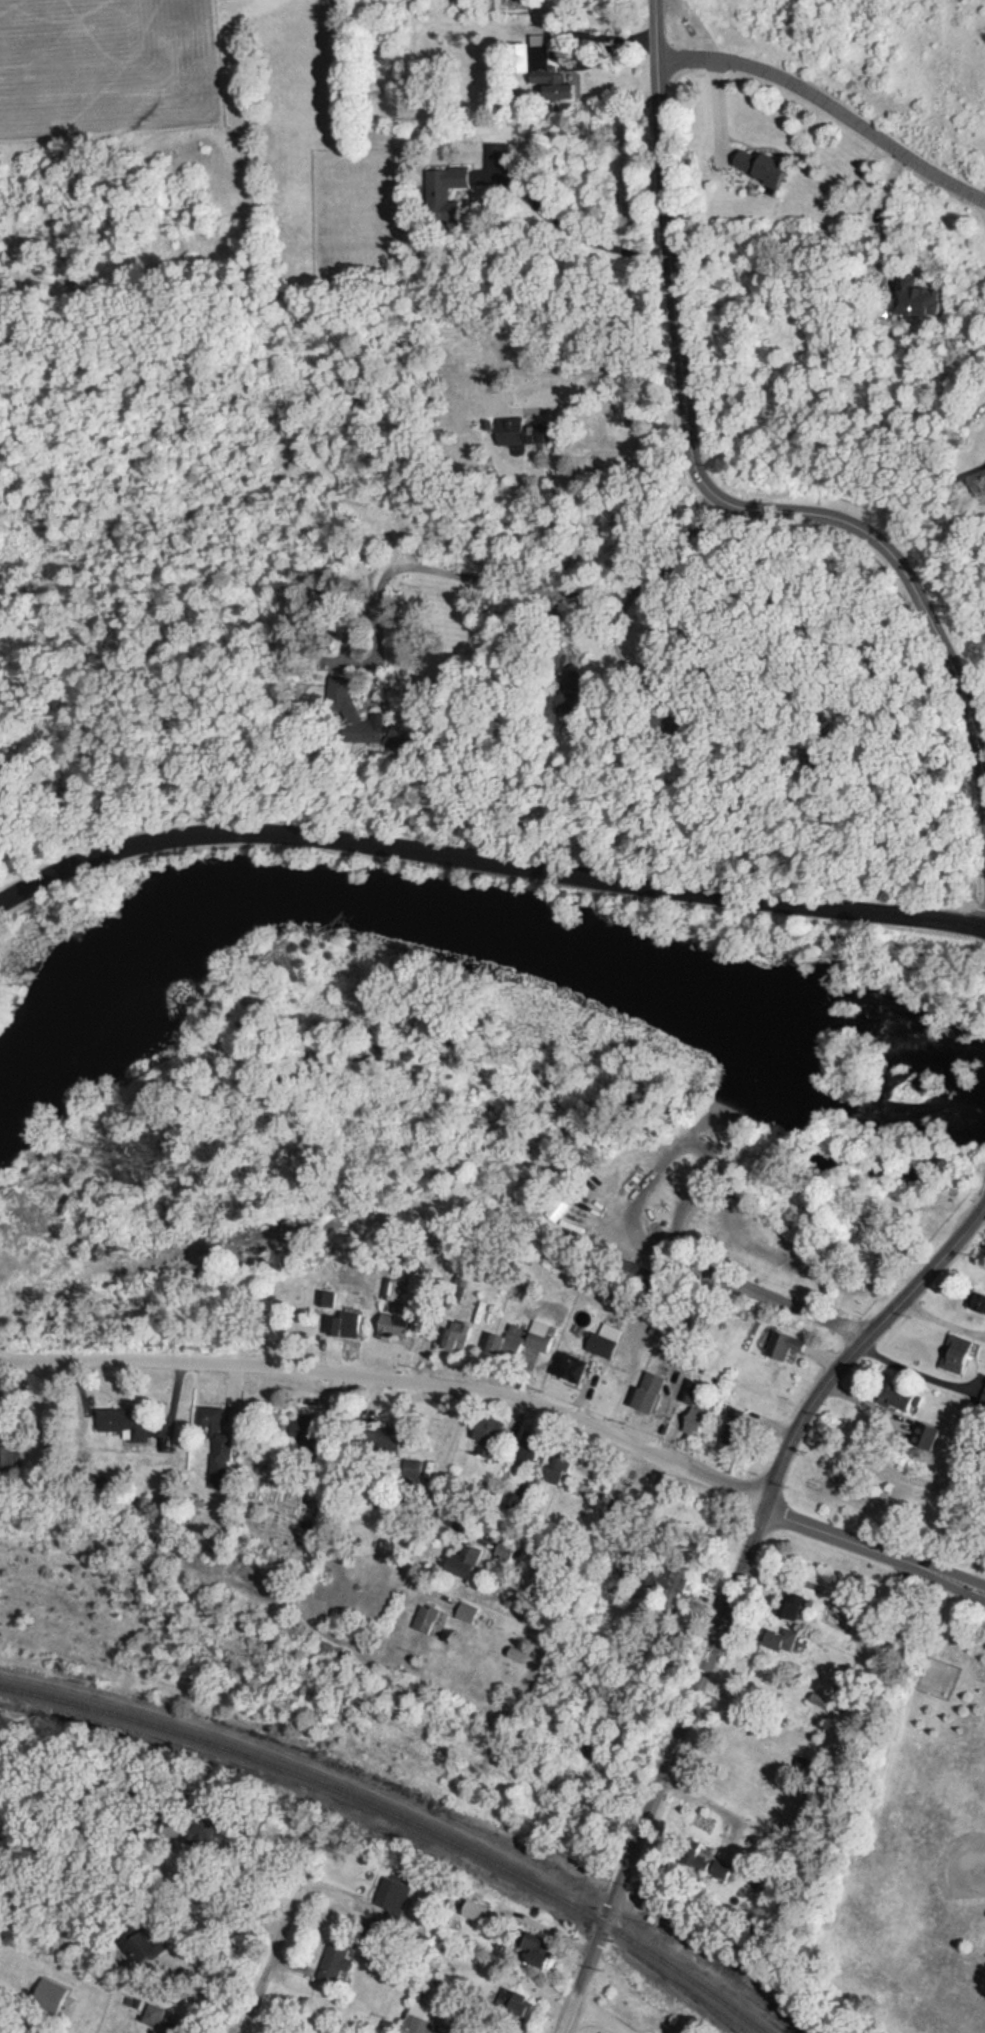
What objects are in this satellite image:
road: (563, 31)
road: (830, 103)
road: (717, 105)
building: (771, 171)
road: (885, 212)
road: (574, 224)
road: (580, 360)
building: (517, 432)
road: (704, 476)
road: (477, 579)
road: (724, 618)
road: (634, 671)
road: (487, 859)
river: (475, 943)
park: (463, 1088)
road: (703, 1122)
road: (669, 1155)
parking lot: (662, 1199)
road: (511, 1207)
toll booth: (678, 1221)
toll booth: (666, 1223)
road: (786, 1247)
building: (633, 1269)
road: (932, 1274)
road: (9, 1300)
road: (783, 1300)
building: (975, 1302)
building: (456, 1340)
building: (606, 1340)
building: (527, 1343)
building: (783, 1346)
building: (956, 1355)
building: (574, 1368)
road: (922, 1370)
road: (395, 1381)
building: (653, 1391)
building: (698, 1422)
building: (737, 1426)
building: (133, 1427)
building: (485, 1439)
building: (6, 1456)
building: (223, 1458)
building: (558, 1470)
road: (423, 1512)
road: (858, 1543)
road: (967, 1579)
toll booth: (969, 1585)
road: (965, 1589)
toll booth: (966, 1590)
building: (467, 1612)
building: (430, 1621)
road: (708, 1658)
park: (891, 1763)
road: (713, 1799)
railway: (401, 1820)
park: (944, 1847)
road: (219, 1893)
building: (540, 1951)
road: (274, 1955)
road: (218, 1956)
building: (338, 1963)
road: (569, 2014)
road: (601, 2016)
building: (421, 2020)
parking lot: (645, 2030)

